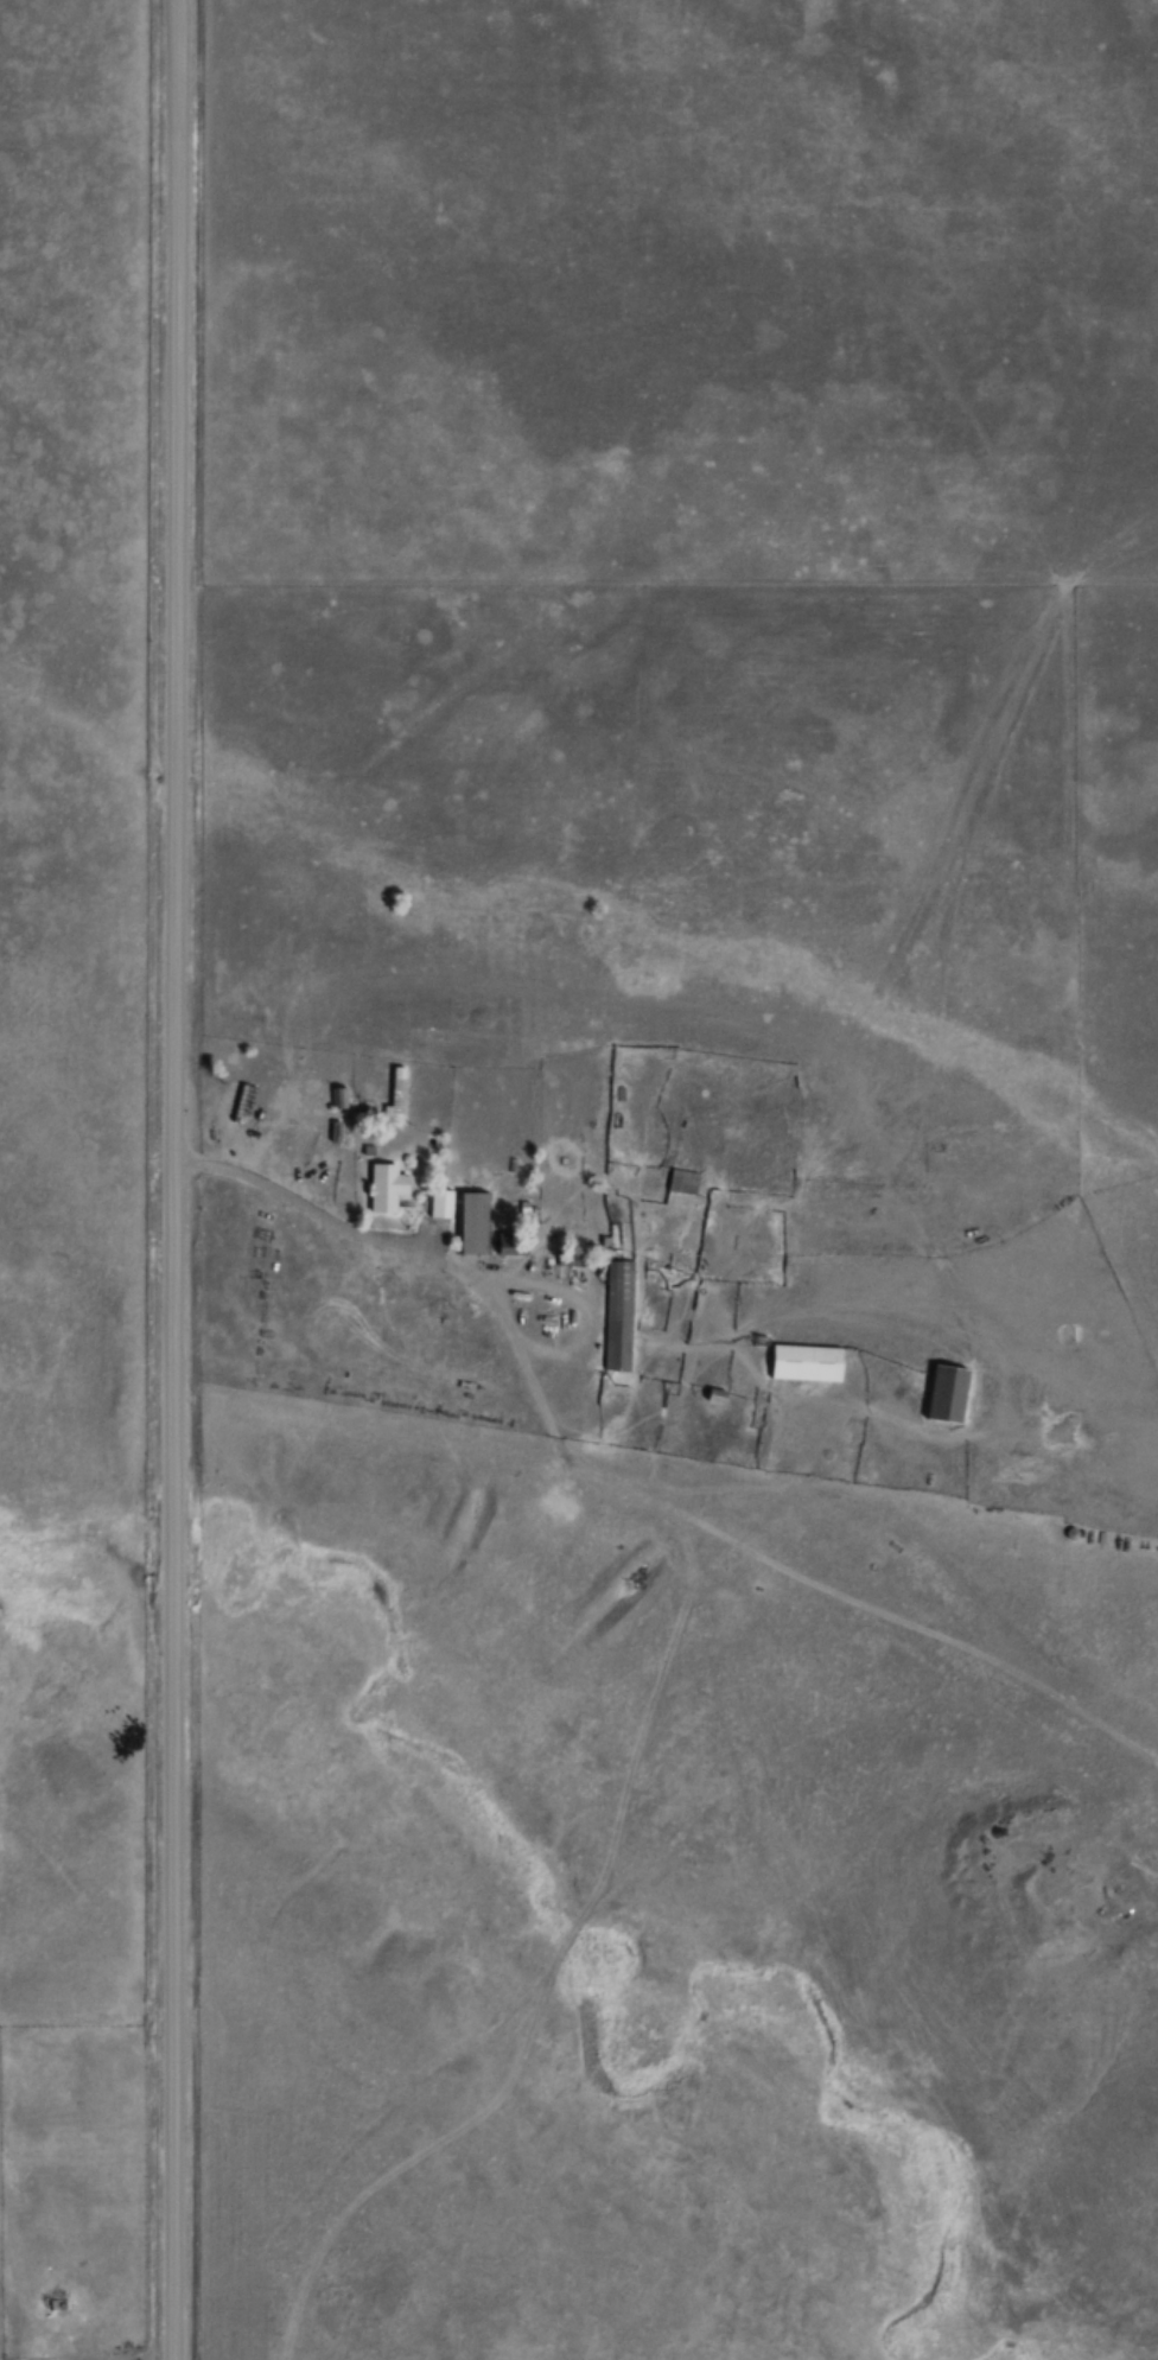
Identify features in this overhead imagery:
building: (342, 1099)
building: (399, 1100)
road: (170, 1179)
building: (685, 1183)
building: (389, 1189)
building: (444, 1206)
building: (476, 1224)
building: (621, 1316)
building: (809, 1365)
building: (950, 1394)

